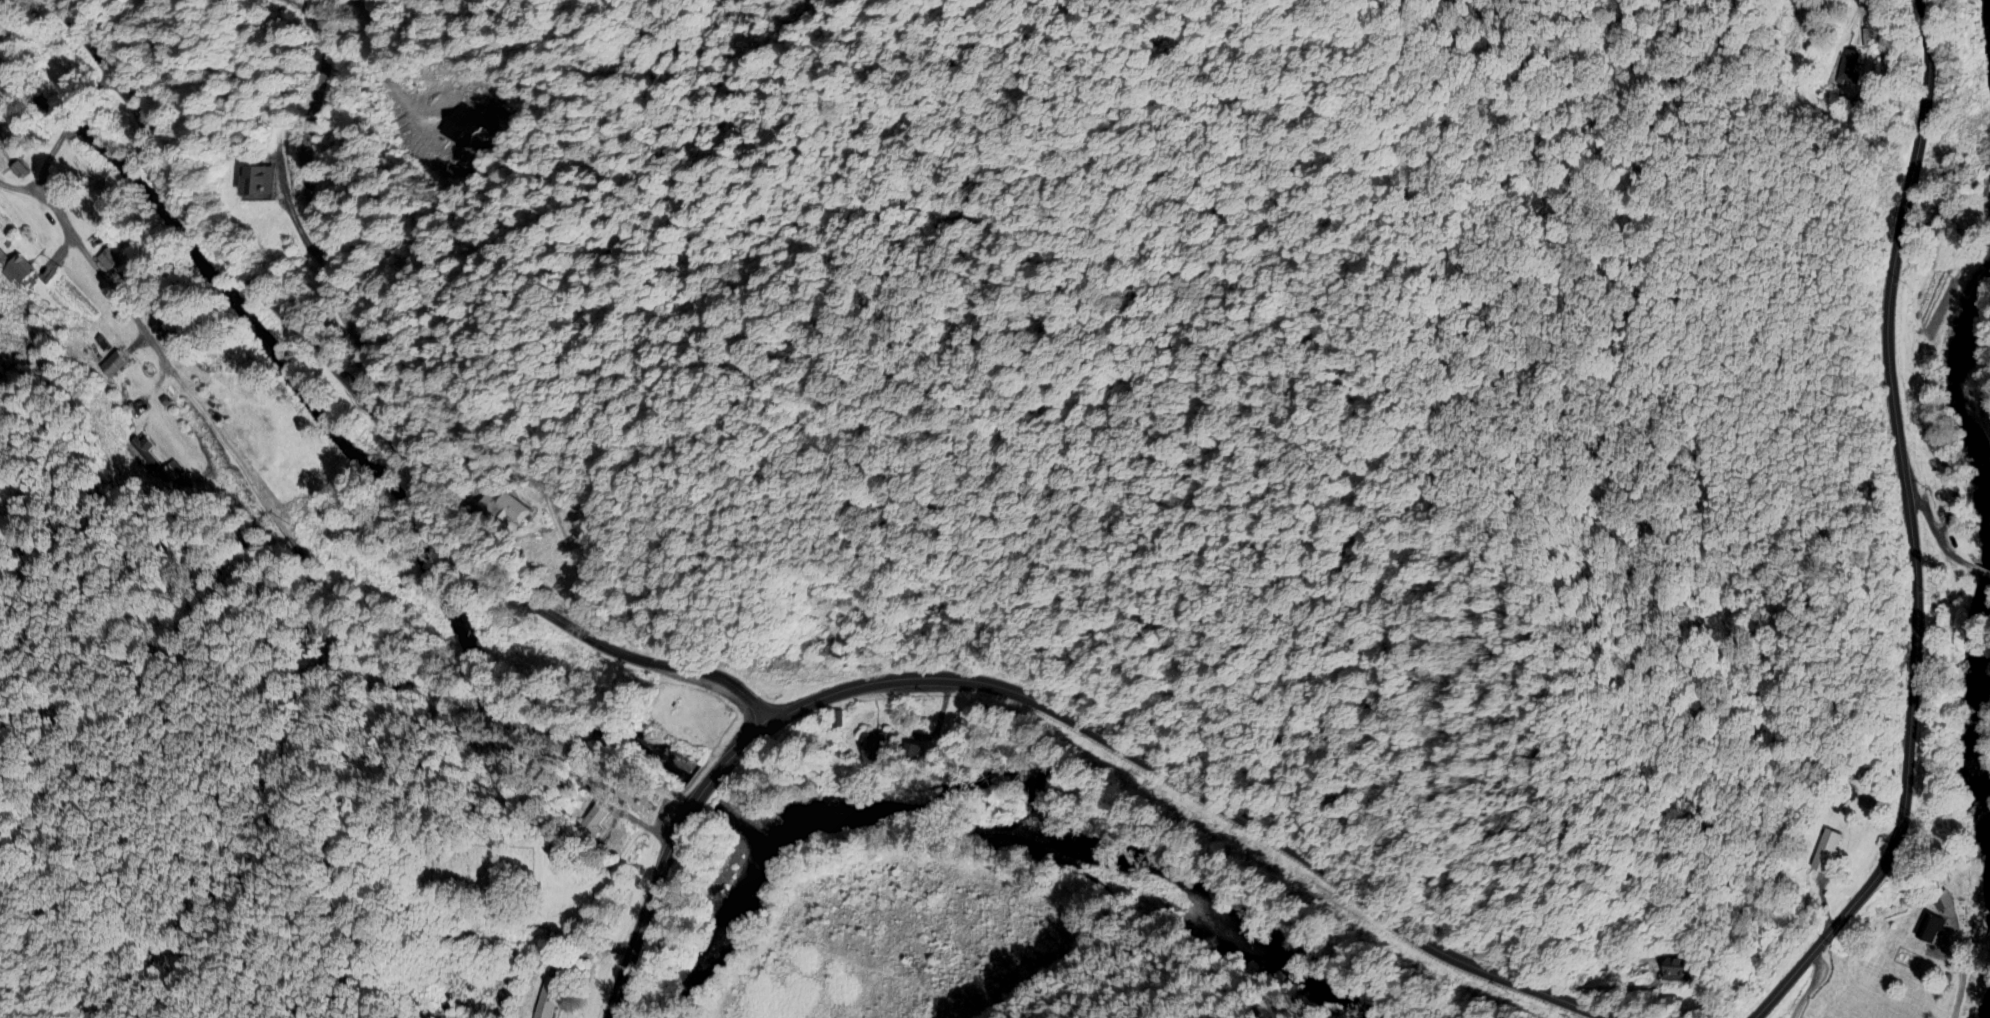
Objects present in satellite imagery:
road: (45, 147)
building: (15, 172)
building: (1952, 177)
building: (252, 184)
building: (105, 262)
building: (14, 273)
building: (108, 368)
river: (1977, 404)
road: (371, 411)
building: (508, 512)
road: (1908, 531)
road: (1931, 538)
road: (1980, 574)
river: (1979, 696)
road: (1046, 710)
building: (871, 750)
building: (909, 754)
building: (630, 799)
building: (591, 824)
building: (1822, 855)
river: (1090, 890)
building: (1940, 904)
river: (730, 917)
building: (1930, 933)
building: (1672, 974)
road: (1810, 986)
road: (1600, 990)
building: (544, 999)

